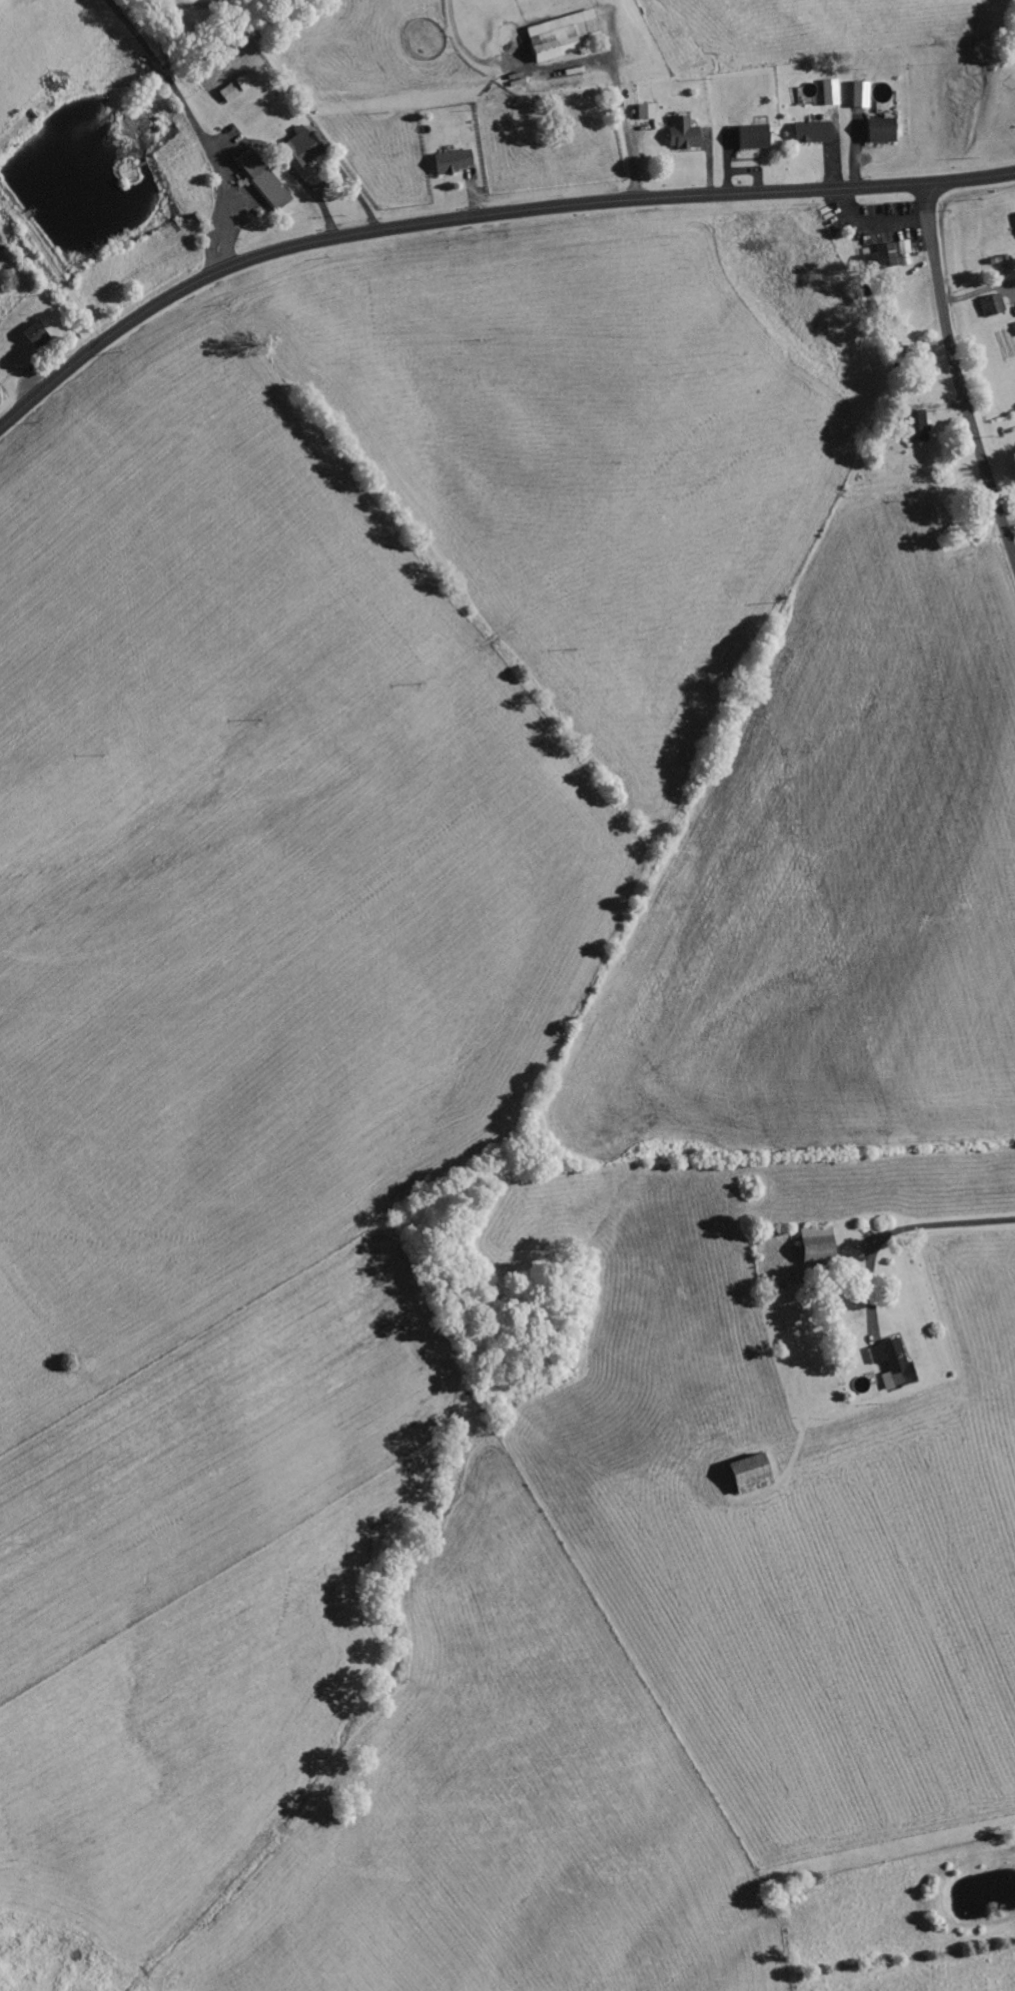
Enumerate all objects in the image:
building: (565, 34)
building: (242, 85)
building: (834, 91)
building: (865, 93)
building: (650, 111)
building: (887, 129)
building: (817, 131)
building: (687, 133)
building: (758, 135)
building: (306, 146)
building: (458, 160)
building: (267, 179)
road: (479, 217)
building: (883, 257)
building: (996, 305)
building: (40, 334)
road: (957, 376)
building: (922, 426)
building: (897, 1362)
building: (756, 1472)

